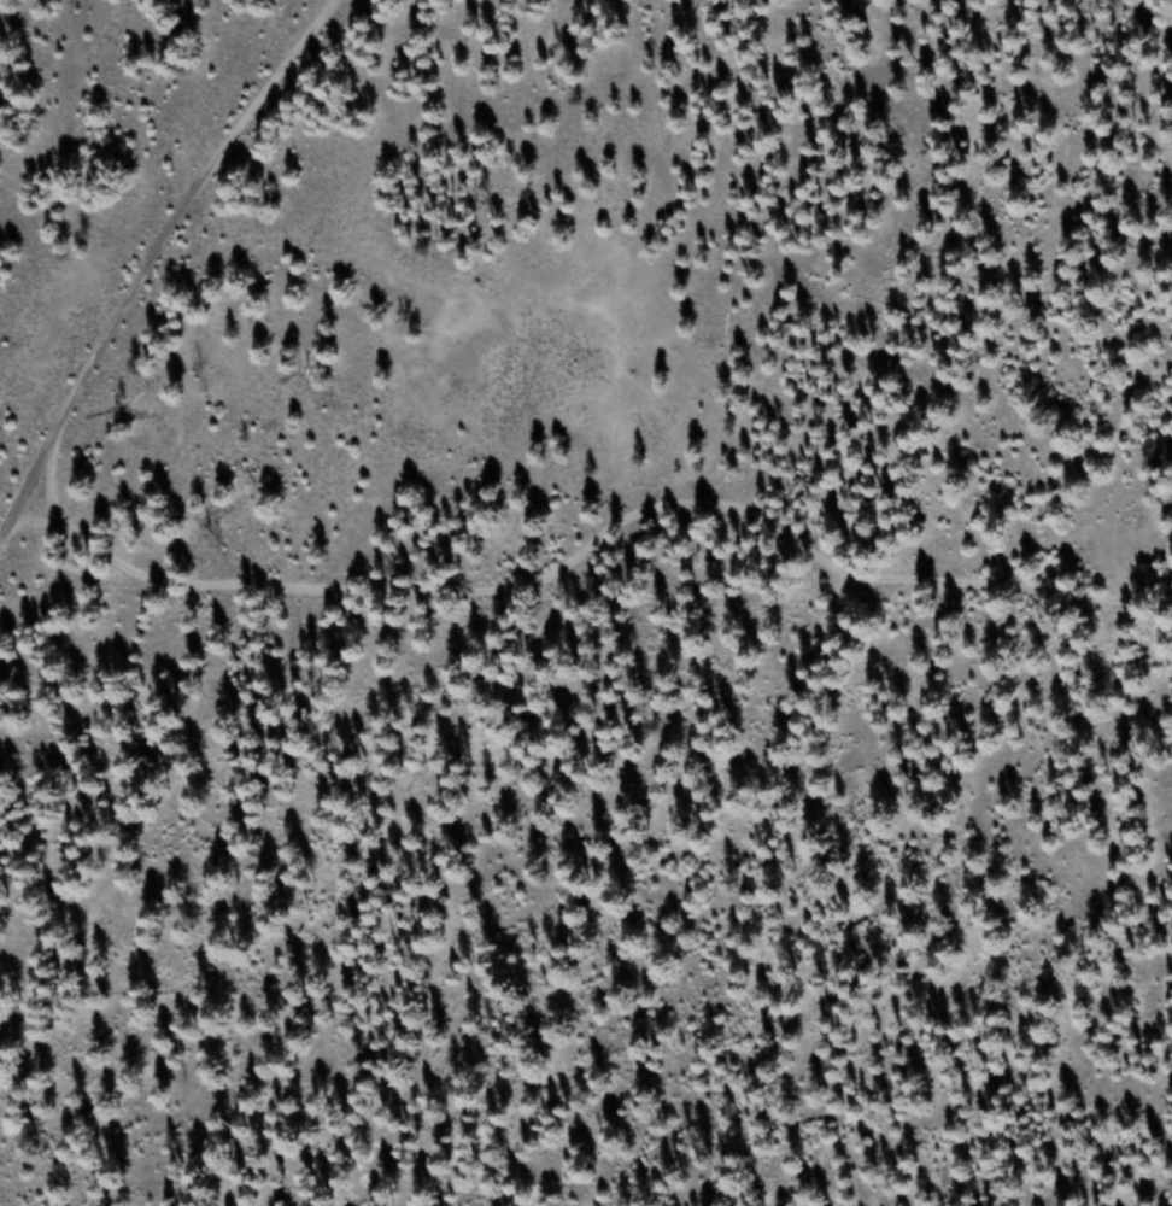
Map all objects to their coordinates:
road: (151, 256)
road: (582, 520)

